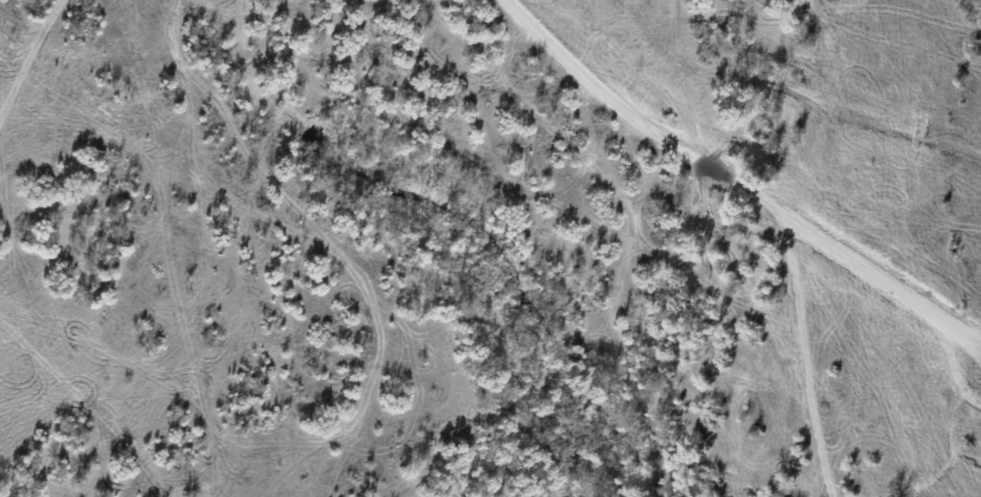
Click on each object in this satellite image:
road: (736, 182)

